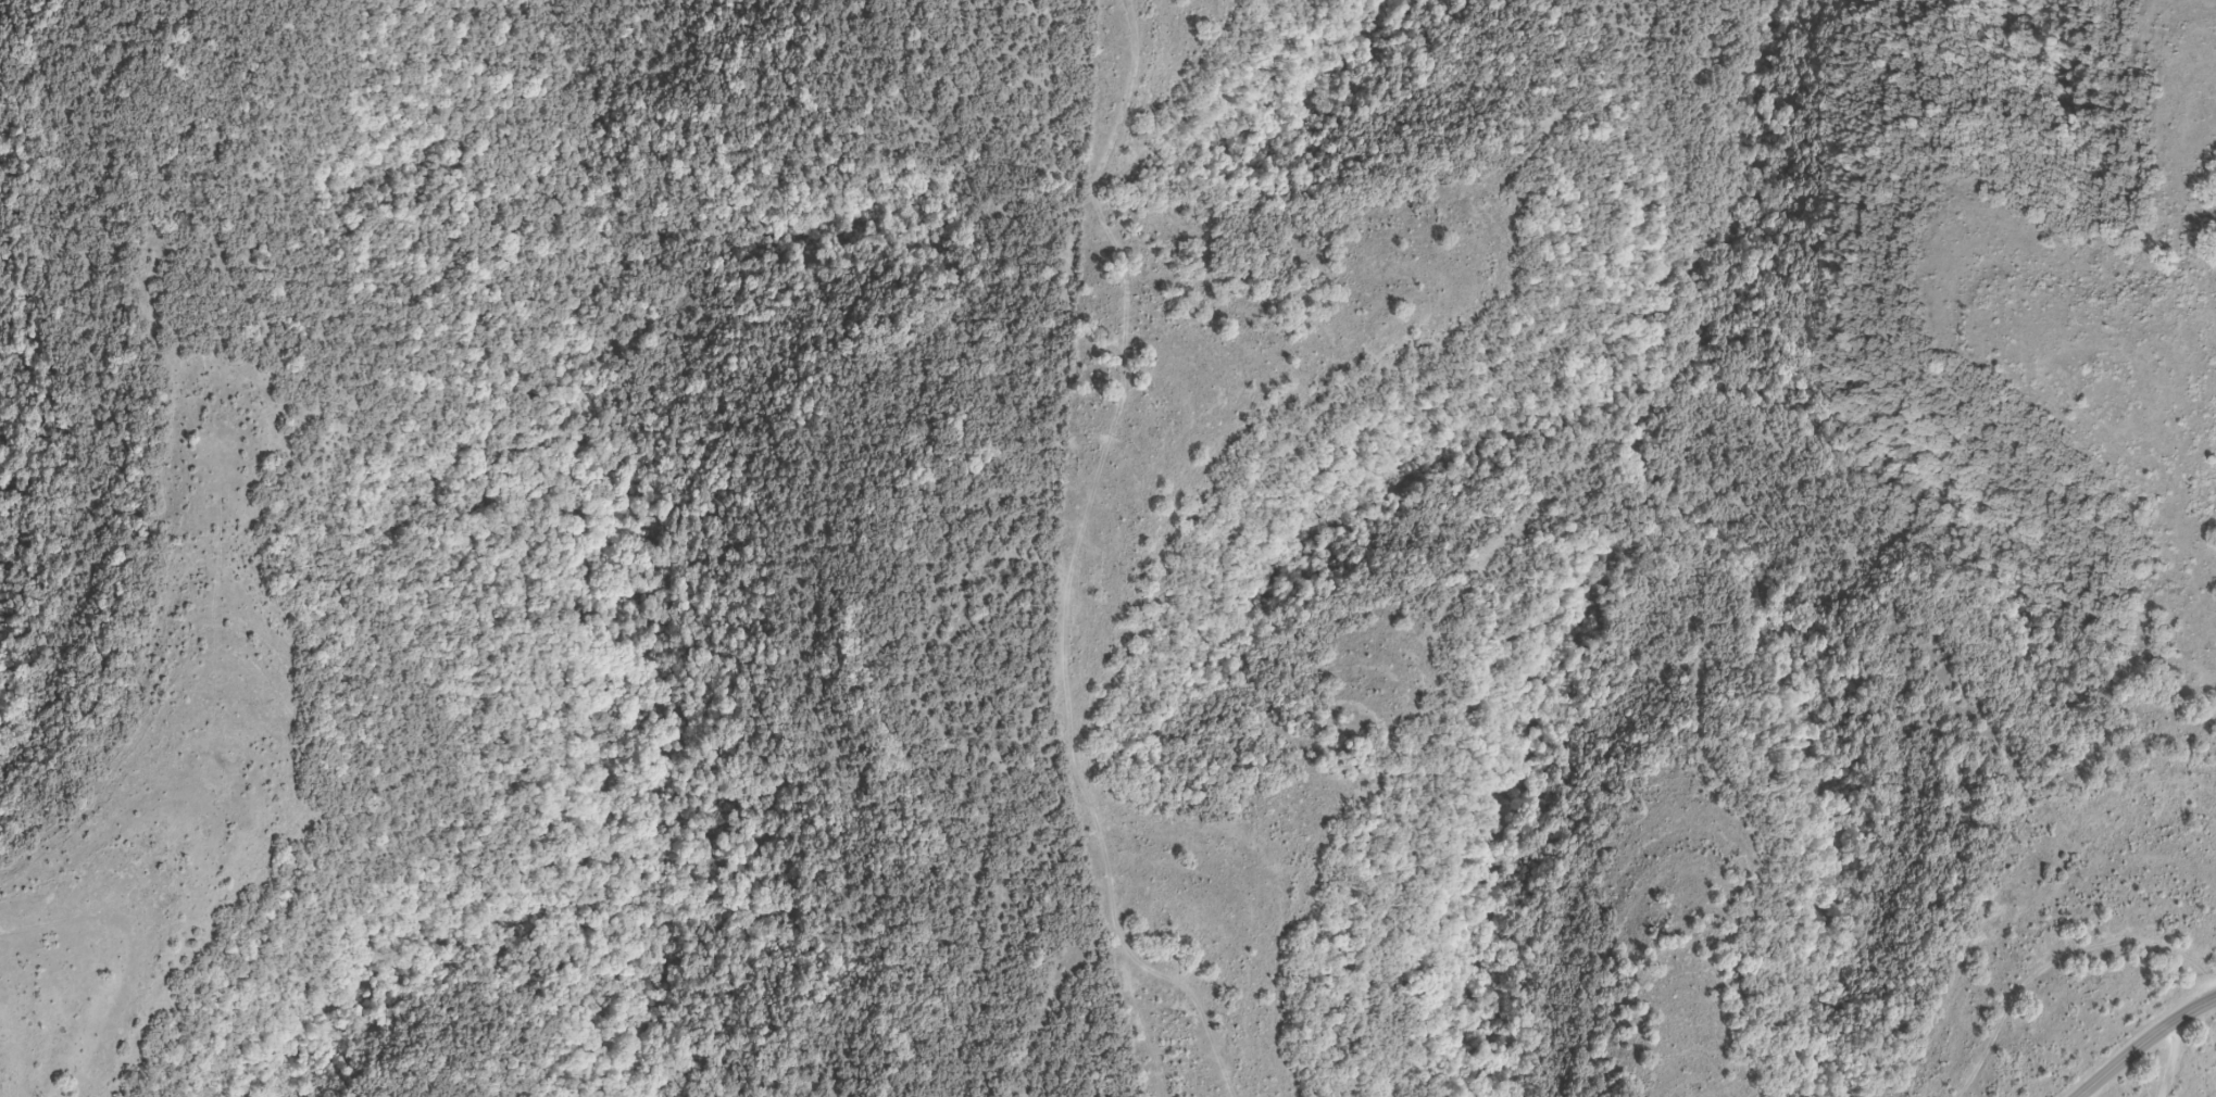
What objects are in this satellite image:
road: (2145, 1043)

